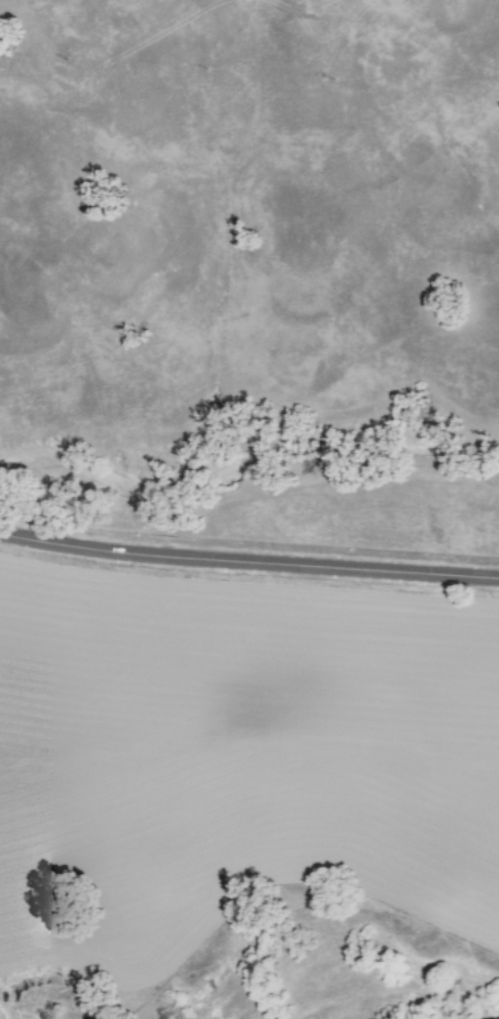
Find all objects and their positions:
road: (248, 561)
river: (497, 1018)

